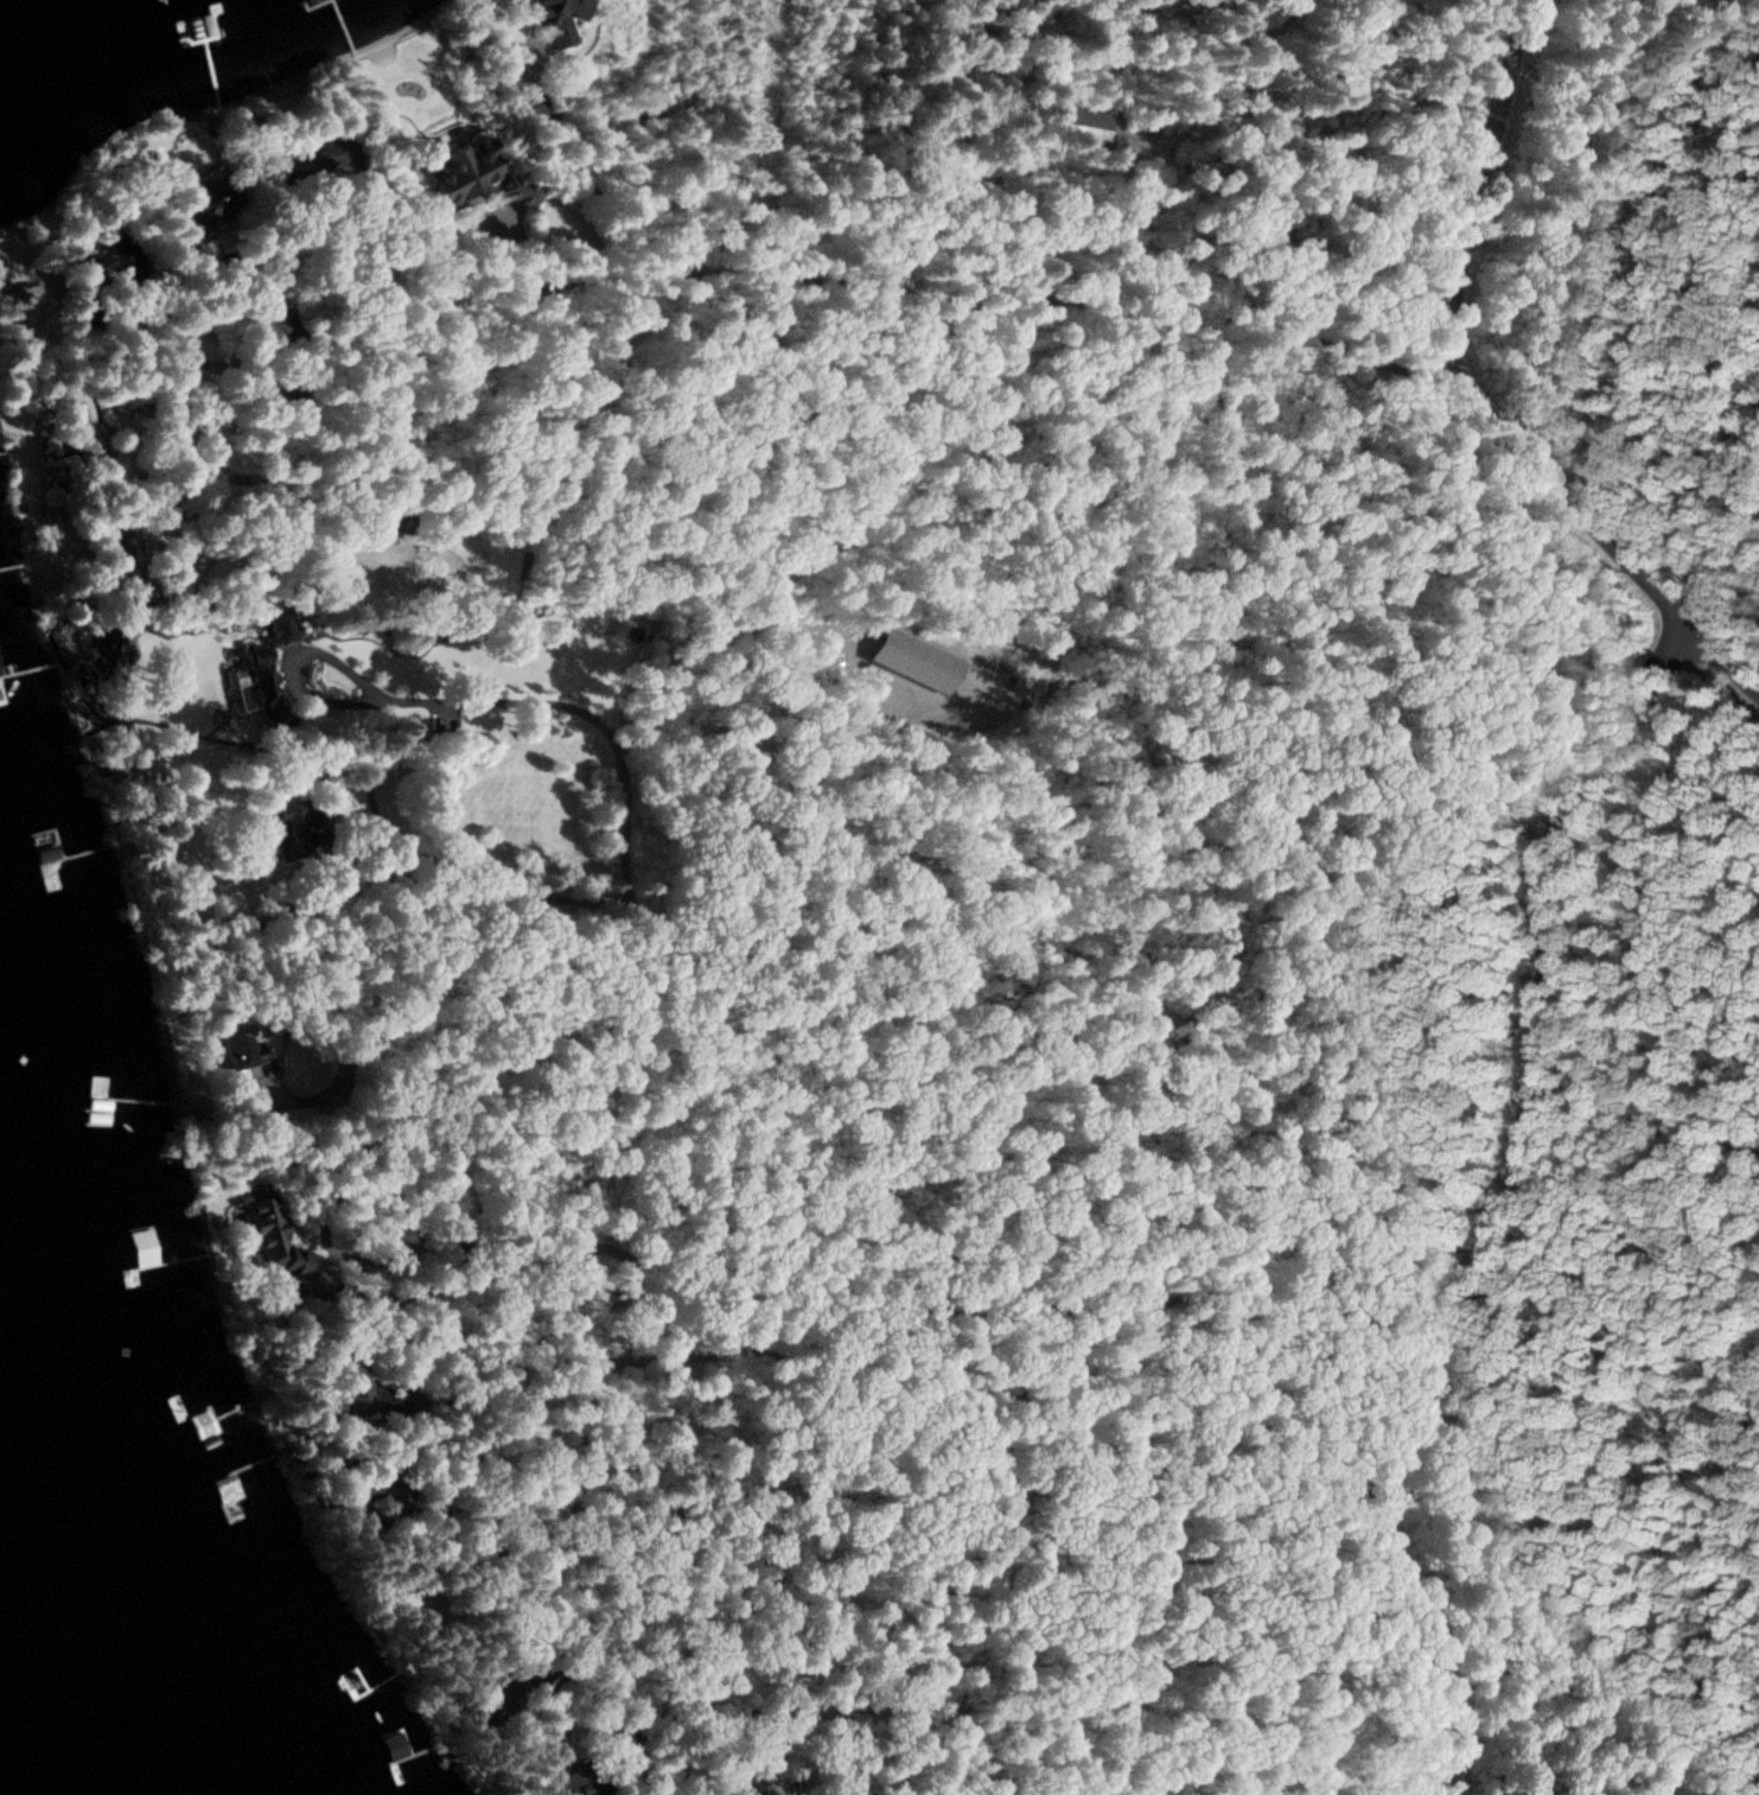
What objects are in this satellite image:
building: (311, 2)
building: (561, 19)
building: (535, 107)
building: (310, 160)
building: (474, 177)
road: (680, 193)
building: (212, 198)
road: (524, 250)
building: (115, 260)
road: (848, 286)
road: (1457, 355)
building: (81, 438)
road: (267, 568)
road: (1722, 661)
building: (914, 662)
building: (261, 682)
road: (542, 701)
building: (4, 707)
building: (295, 827)
road: (689, 978)
building: (242, 1044)
building: (97, 1100)
road: (1519, 1211)
building: (276, 1237)
road: (912, 1307)
road: (944, 1385)
building: (247, 1489)
road: (642, 1764)

